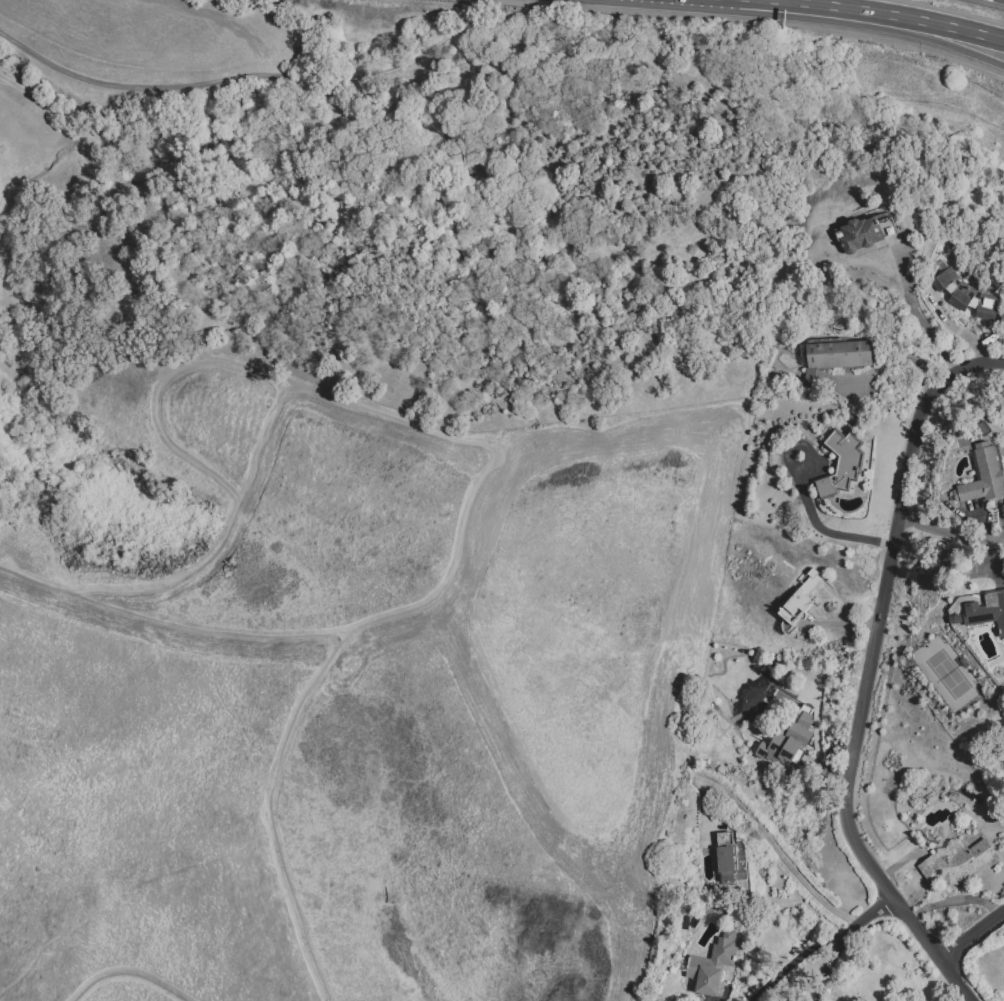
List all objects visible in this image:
road: (781, 0)
road: (896, 15)
road: (897, 28)
road: (226, 81)
building: (865, 236)
building: (964, 295)
road: (916, 315)
building: (833, 359)
road: (388, 413)
road: (267, 435)
building: (842, 466)
building: (980, 477)
road: (807, 506)
road: (951, 530)
road: (200, 564)
building: (802, 600)
building: (985, 609)
road: (875, 645)
road: (336, 646)
building: (818, 677)
building: (730, 686)
building: (803, 714)
building: (790, 748)
building: (727, 858)
building: (957, 862)
road: (789, 864)
road: (973, 936)
road: (840, 940)
road: (790, 963)
building: (714, 968)
road: (126, 971)
road: (957, 980)

